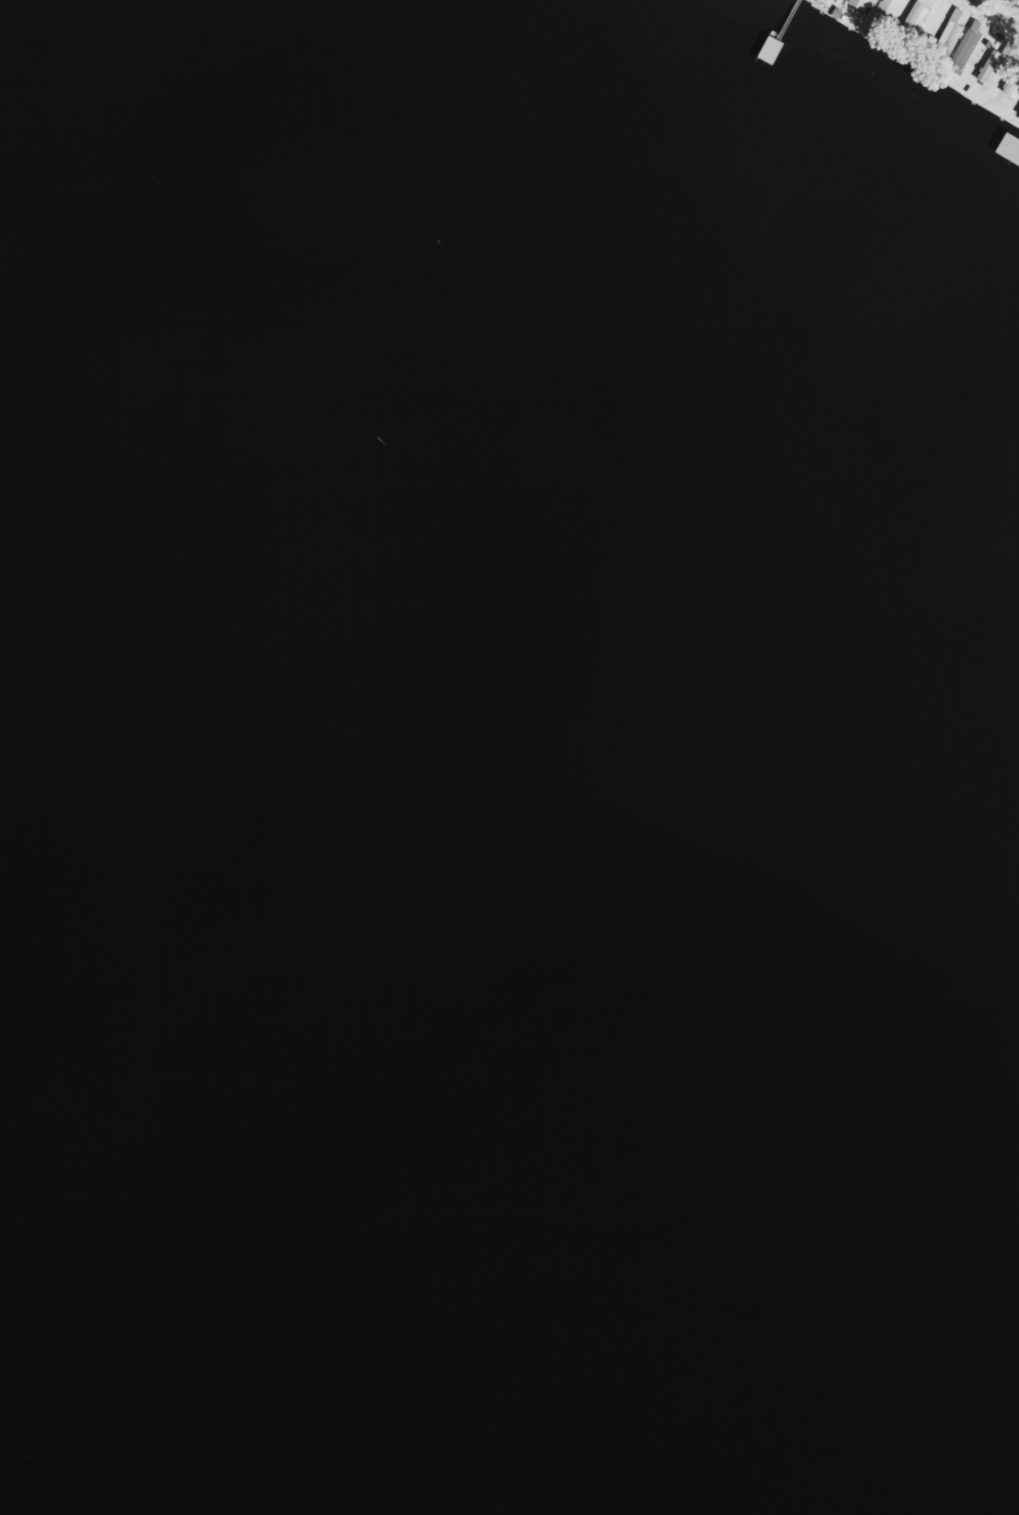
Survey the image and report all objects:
building: (860, 5)
building: (886, 10)
building: (914, 17)
building: (946, 36)
building: (964, 45)
road: (916, 47)
building: (991, 66)
building: (1018, 119)

